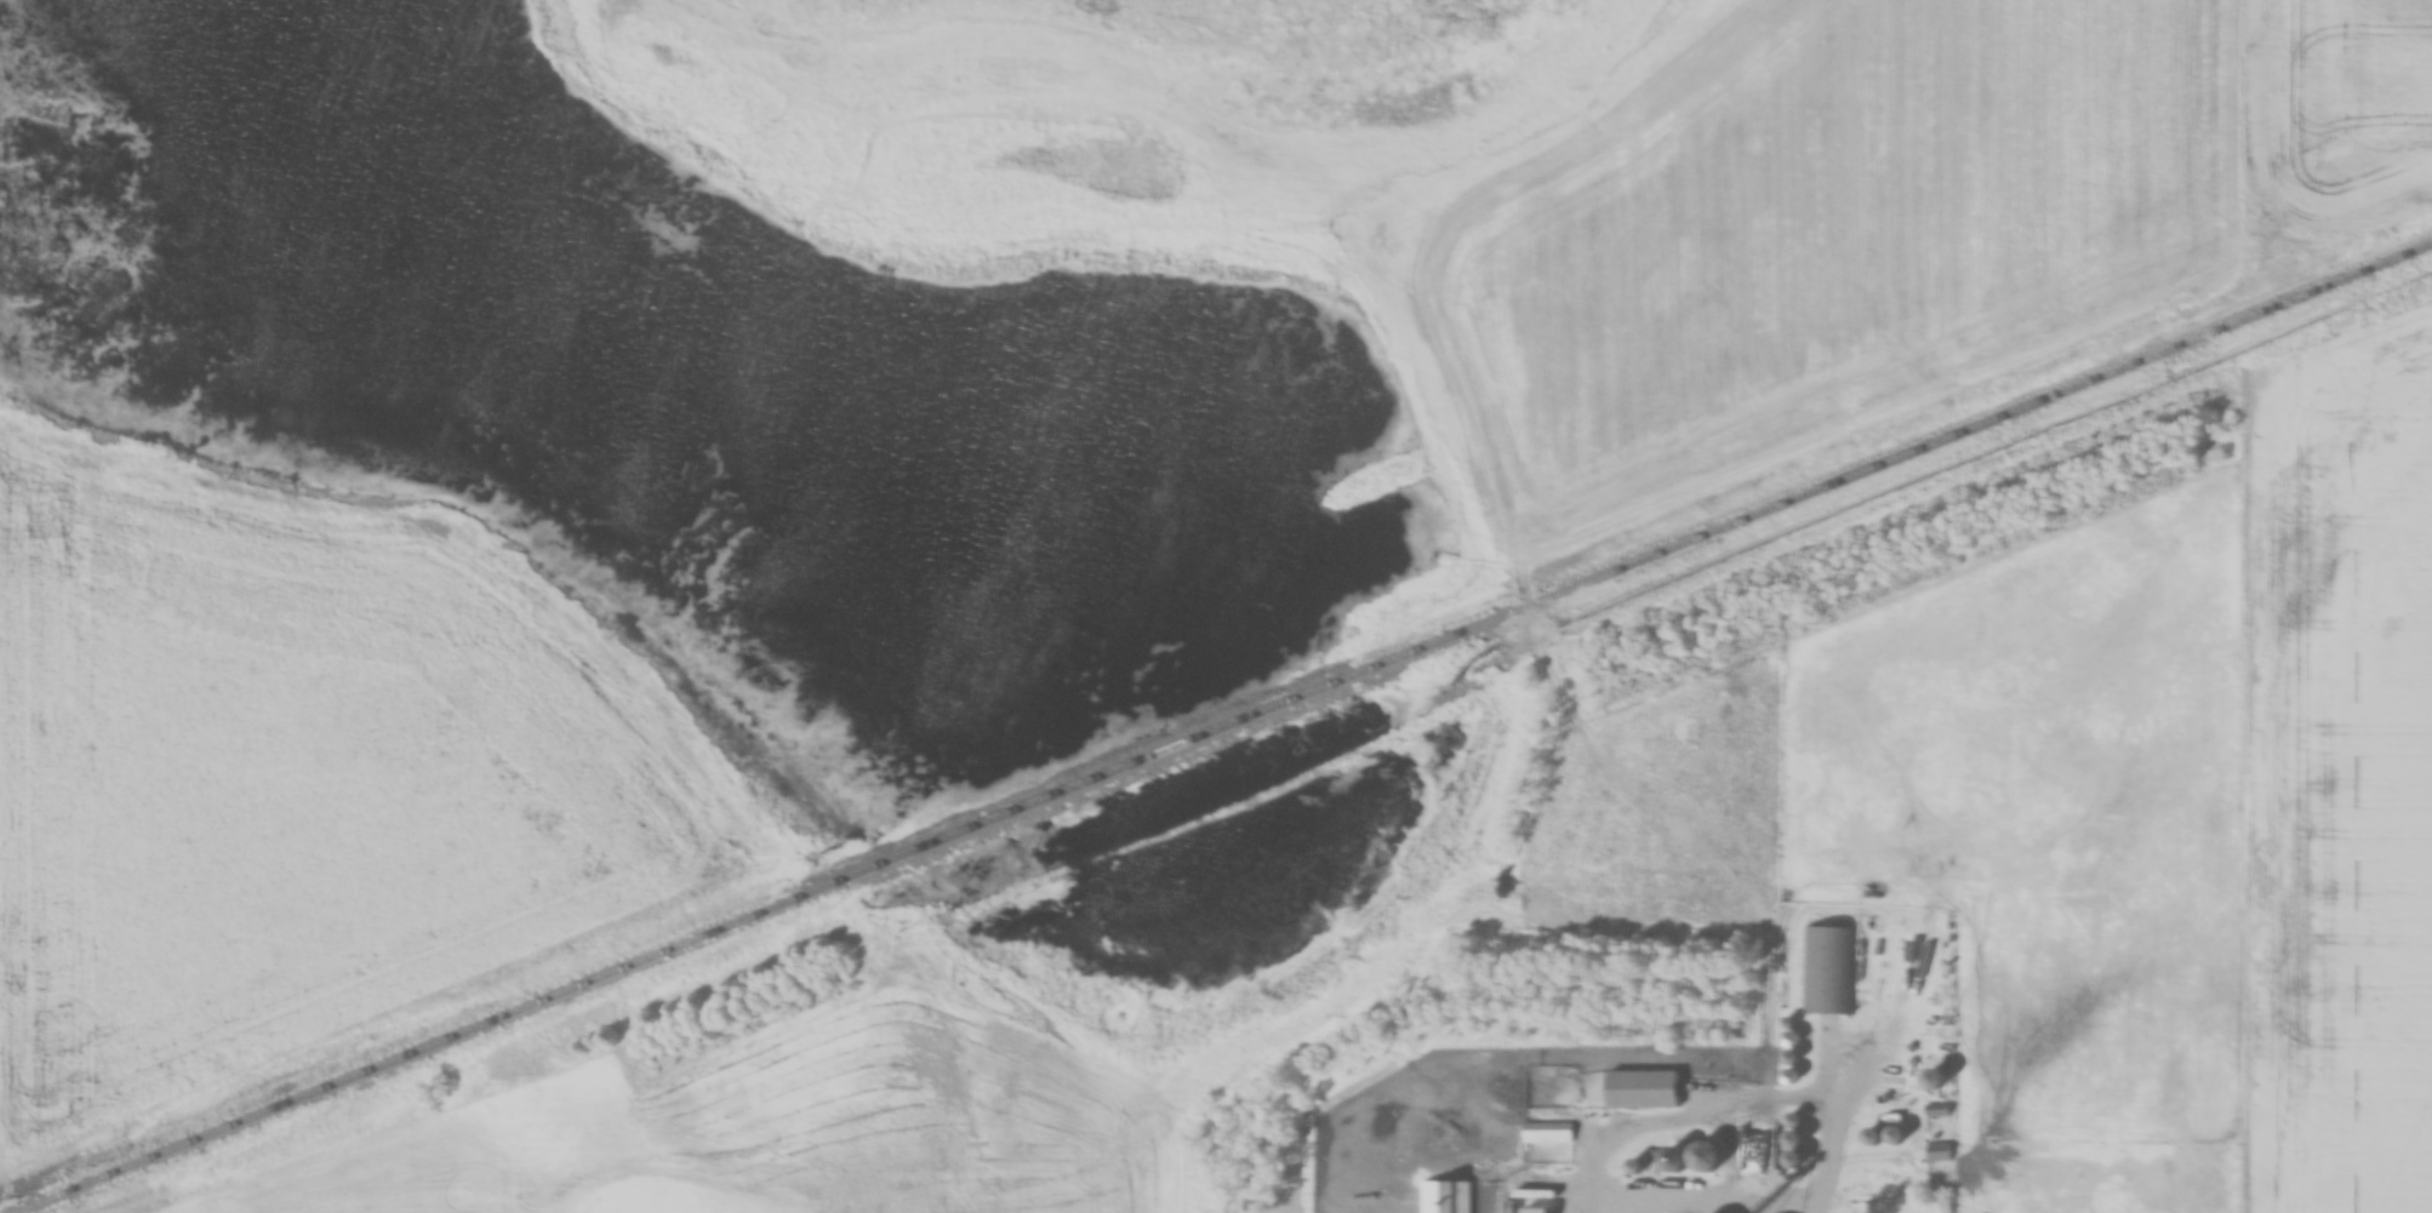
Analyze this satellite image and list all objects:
building: (1712, 708)
railway: (1224, 731)
building: (1831, 965)
building: (1640, 1083)
building: (1546, 1139)
building: (1793, 1145)
building: (1939, 1152)
building: (1691, 1160)
building: (1445, 1197)
building: (1537, 1212)

